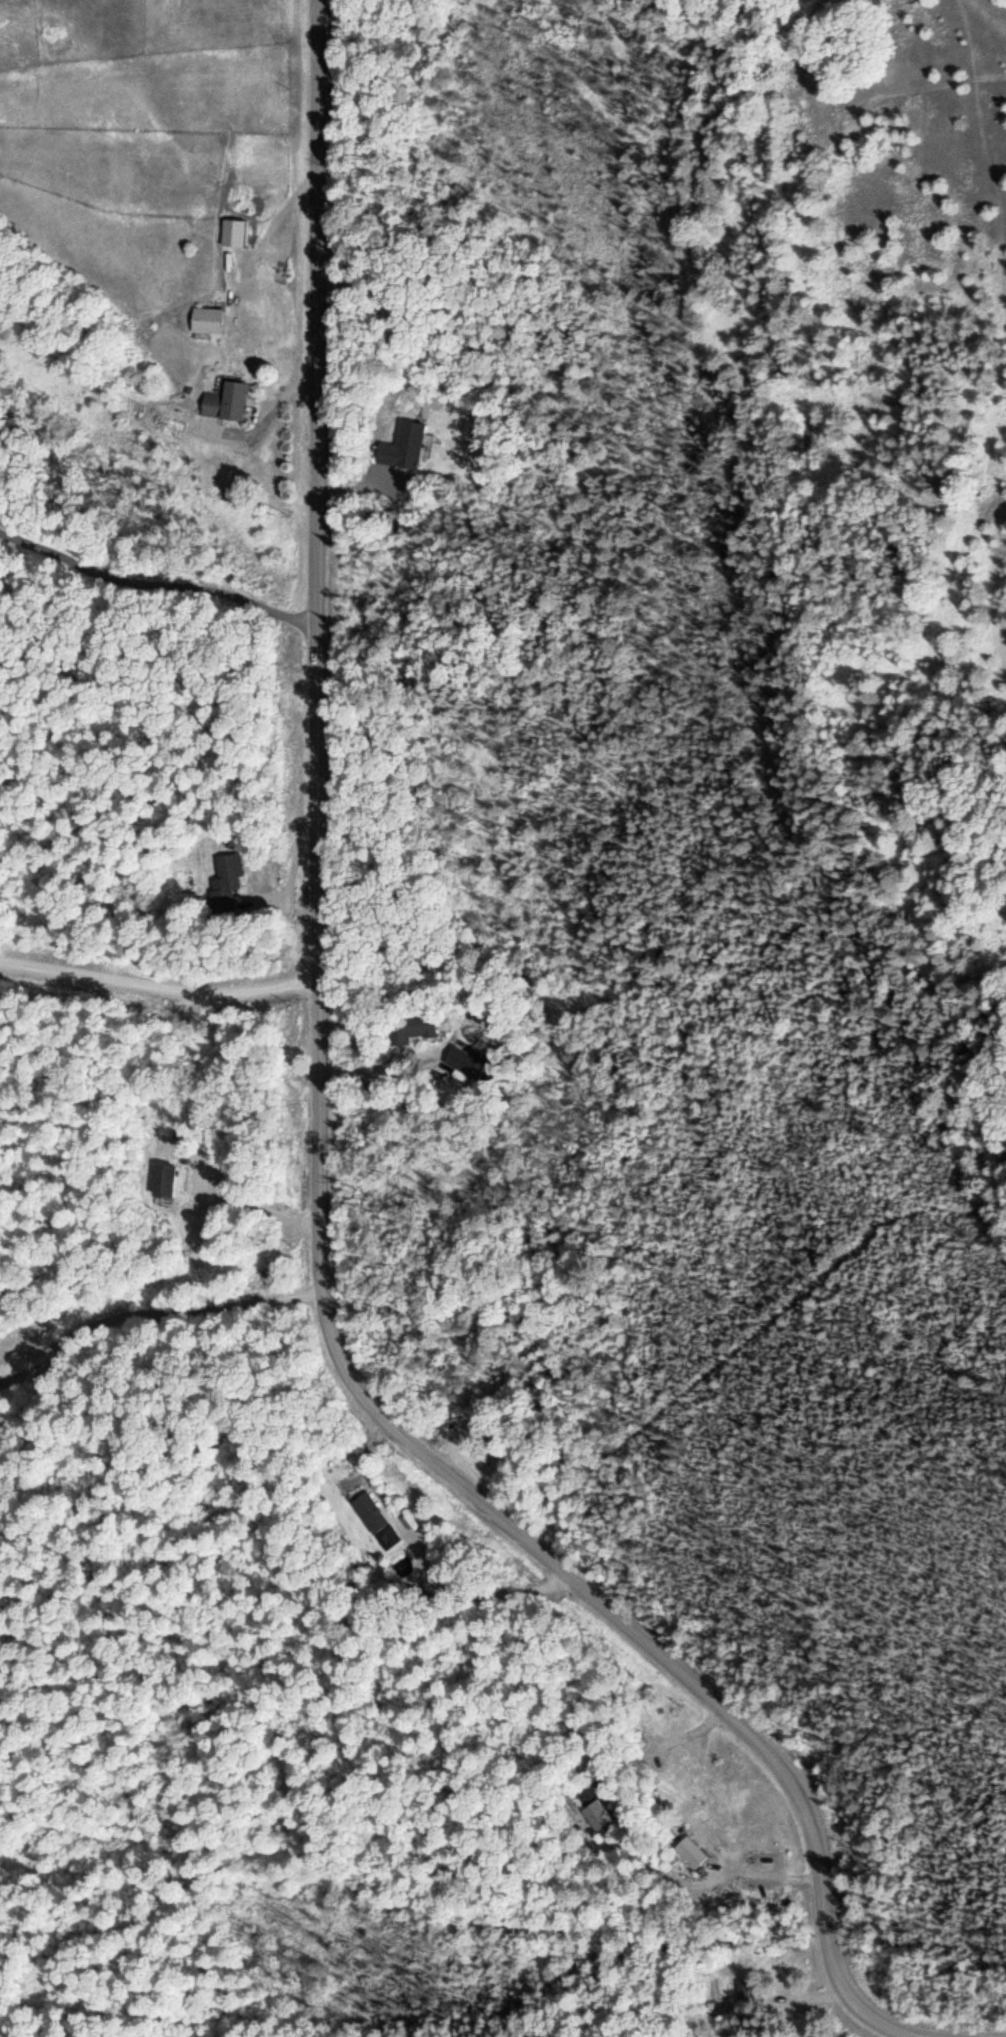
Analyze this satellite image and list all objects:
building: (231, 230)
building: (205, 317)
building: (224, 399)
building: (400, 444)
building: (224, 881)
building: (409, 1024)
building: (467, 1057)
road: (316, 1141)
building: (162, 1177)
building: (375, 1518)
building: (593, 1808)
building: (689, 1846)
building: (743, 1986)

